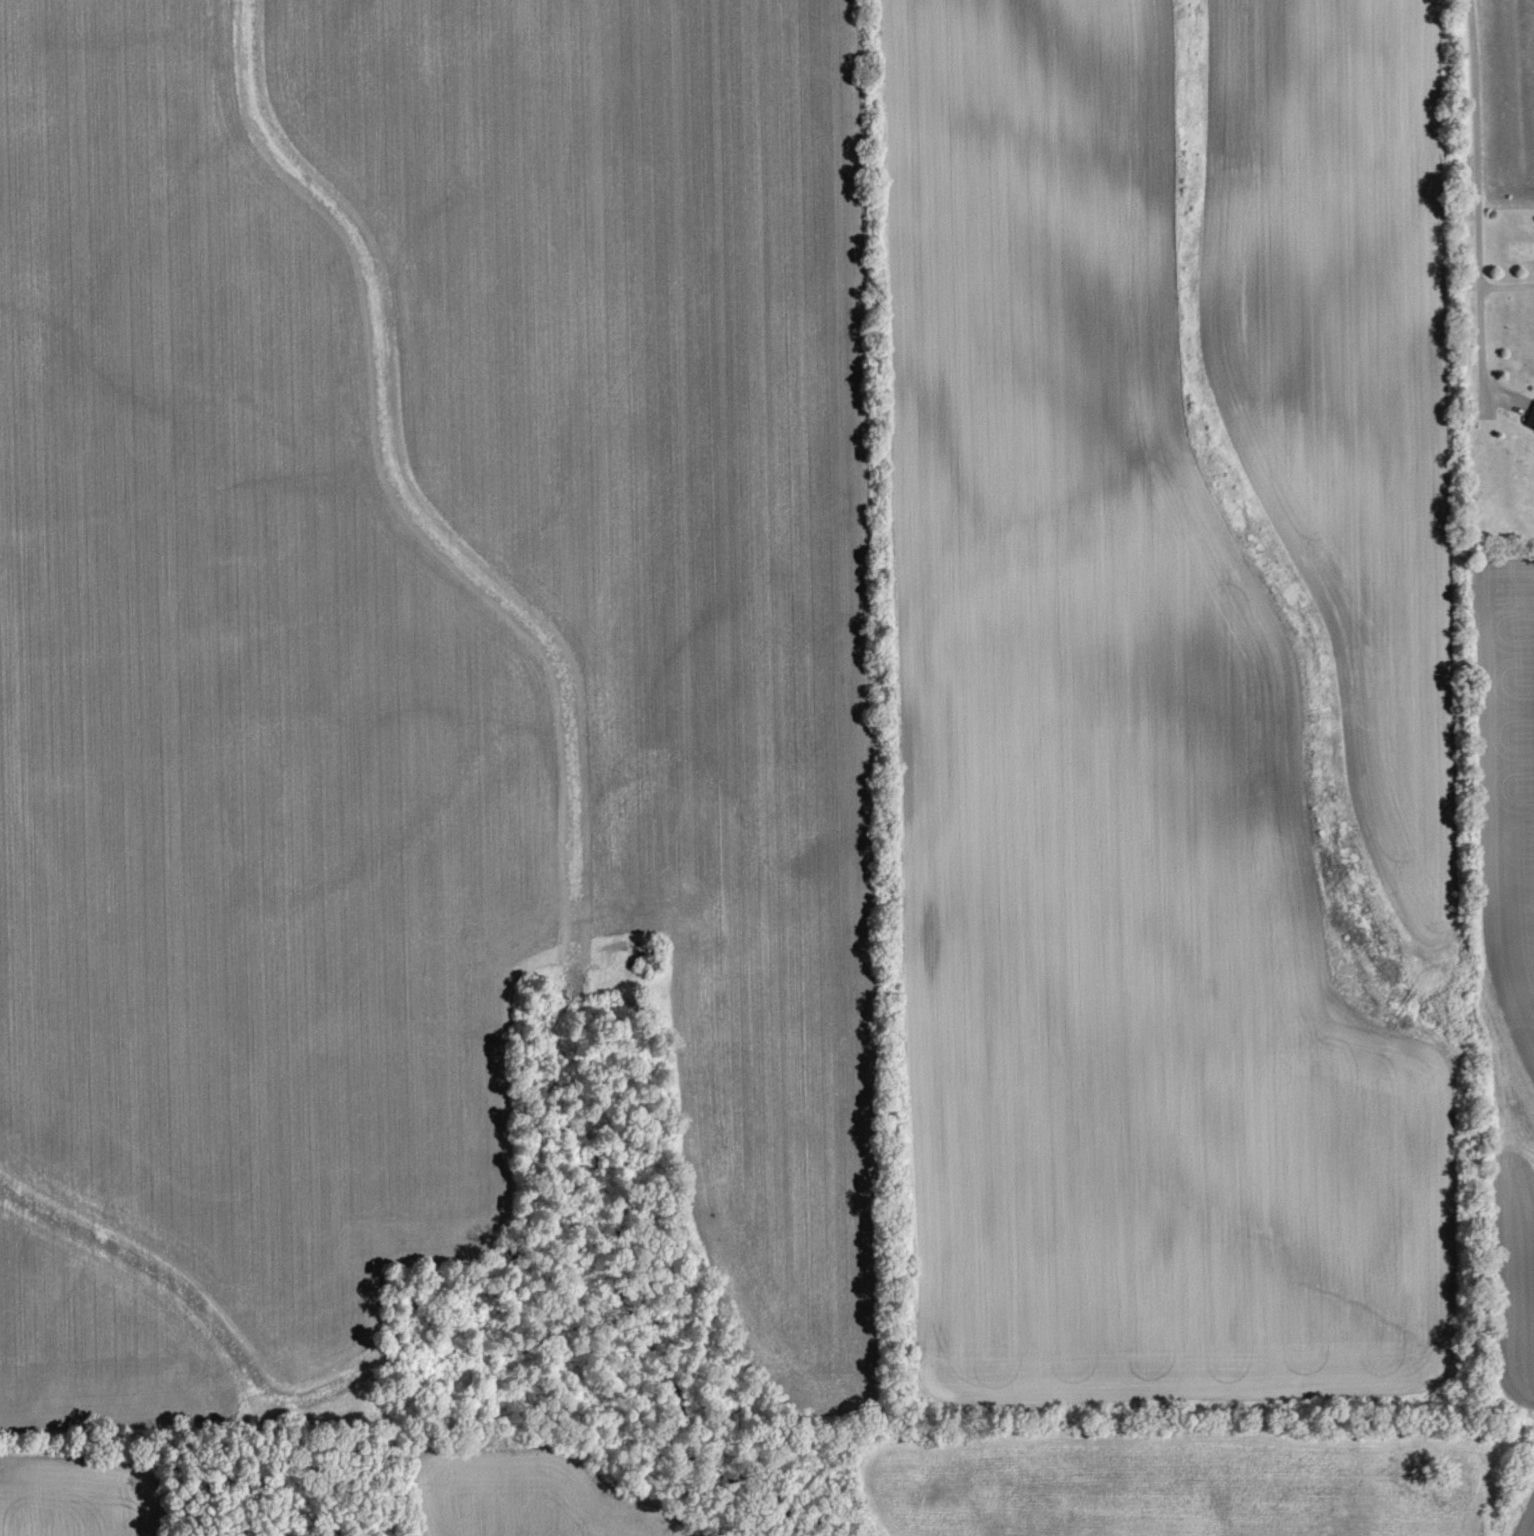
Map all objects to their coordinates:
road: (1477, 194)

